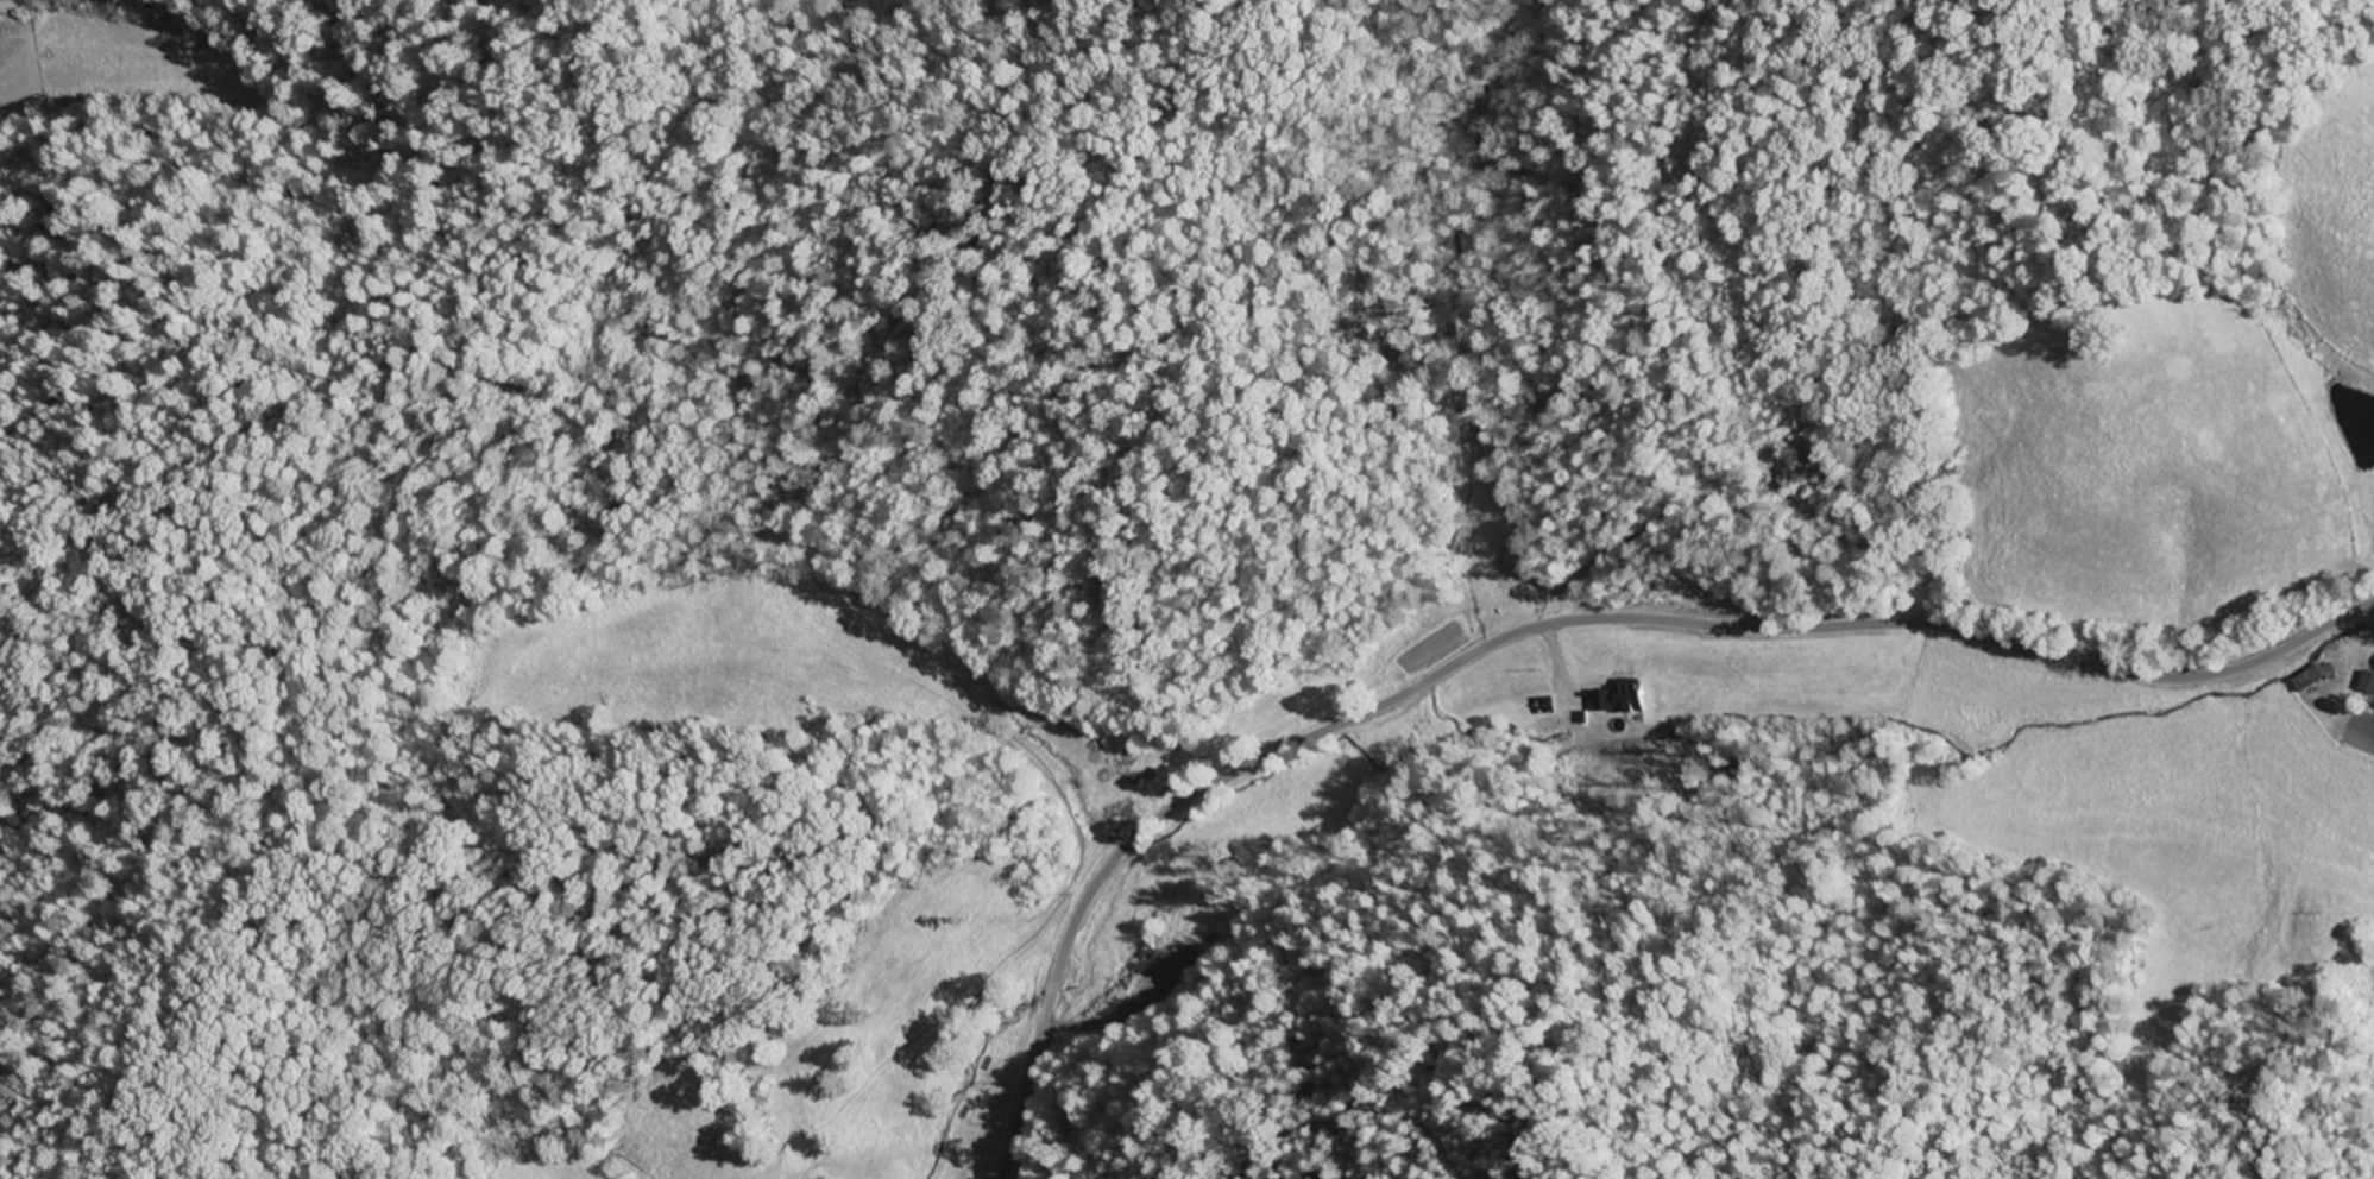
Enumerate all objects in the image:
road: (2366, 614)
road: (1550, 624)
building: (2369, 683)

